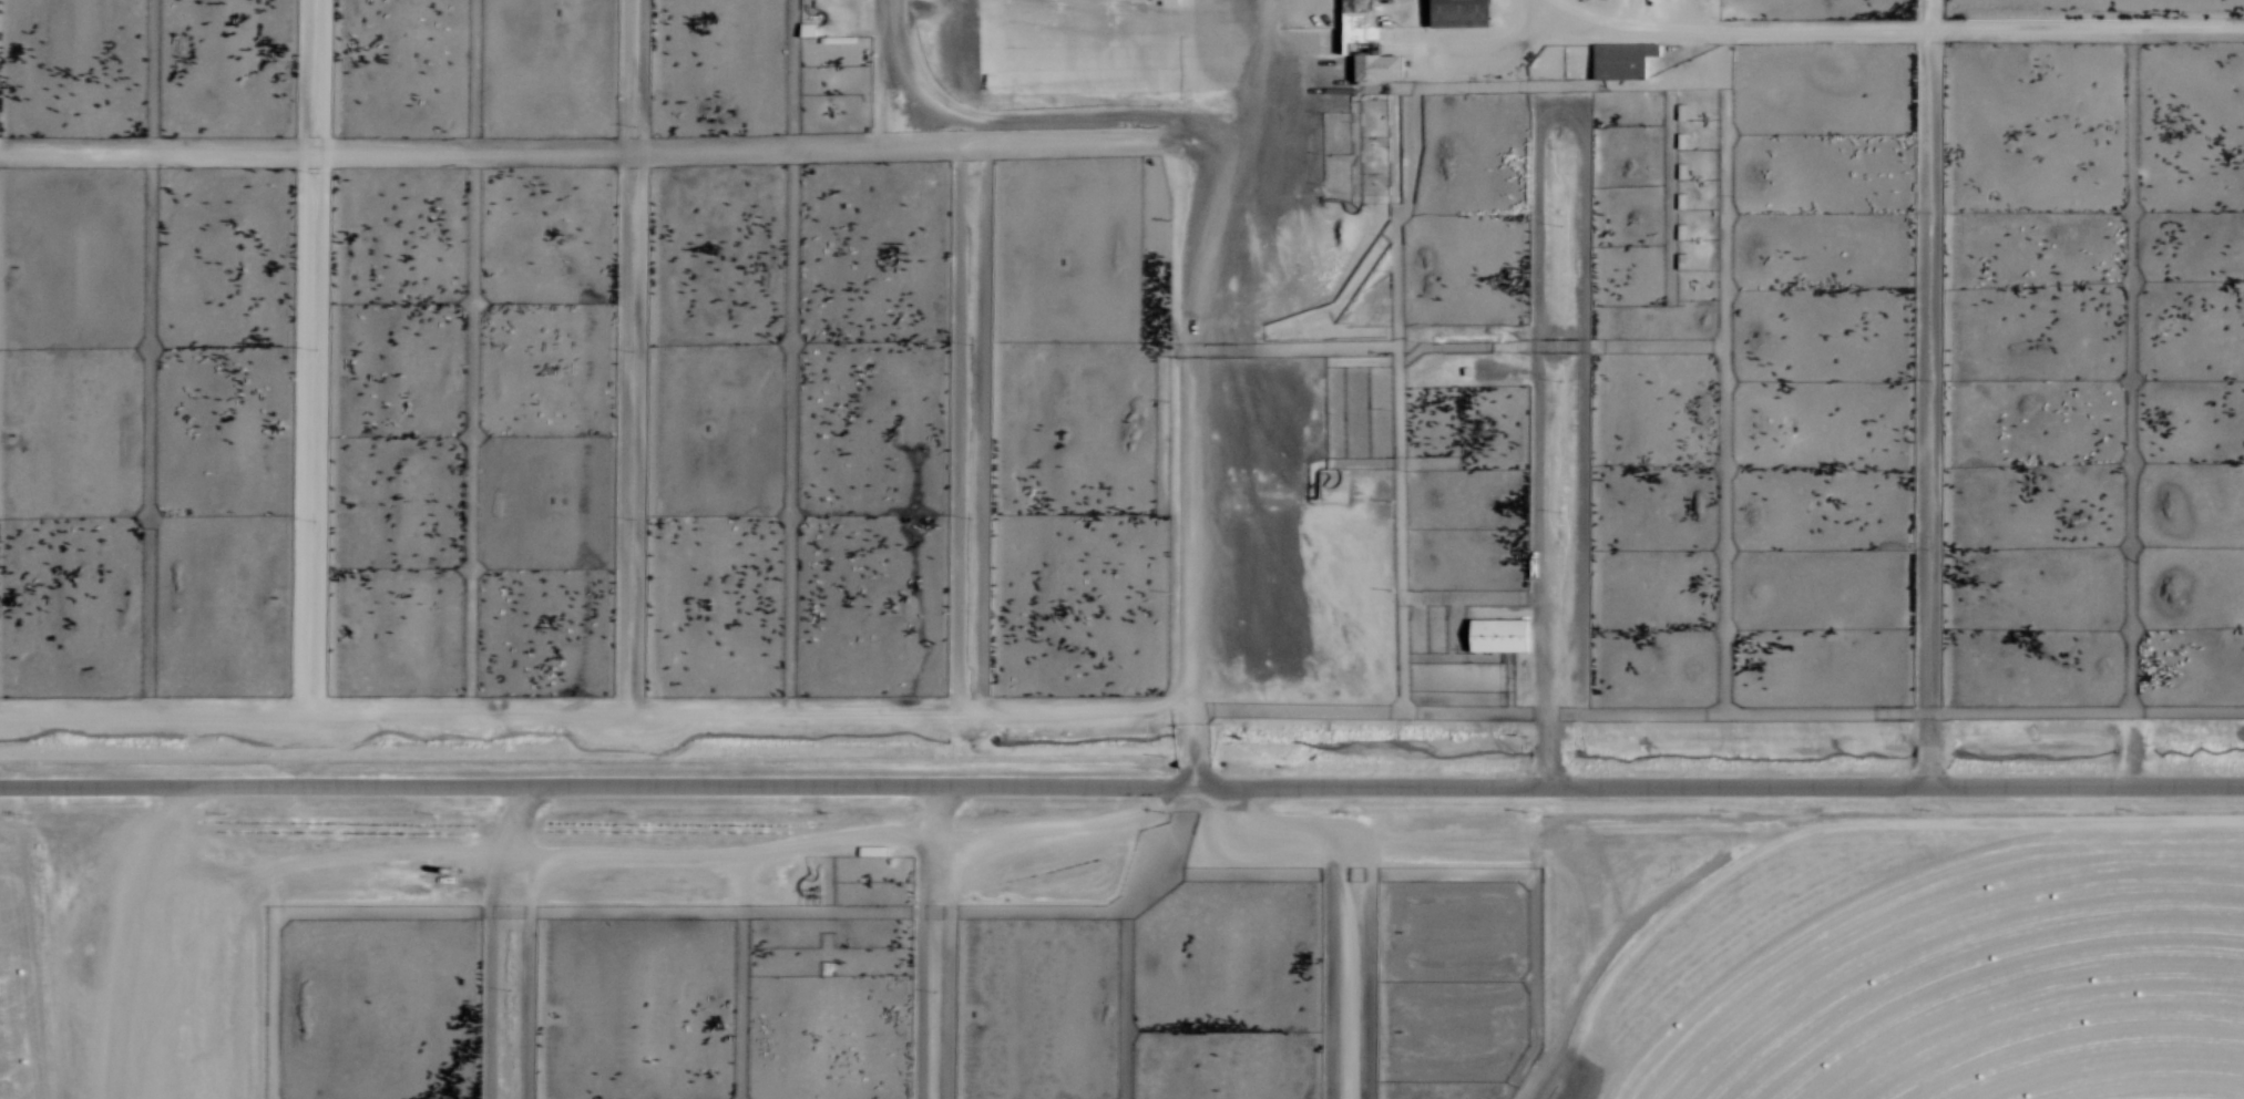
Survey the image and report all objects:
building: (1458, 12)
building: (809, 29)
building: (1348, 31)
road: (1895, 34)
building: (1621, 62)
road: (877, 73)
road: (1559, 115)
road: (778, 148)
road: (308, 358)
road: (627, 358)
road: (1187, 389)
road: (1930, 396)
road: (953, 430)
road: (983, 430)
building: (1496, 636)
road: (963, 716)
road: (1121, 791)
road: (931, 816)
road: (673, 860)
building: (813, 896)
road: (1343, 900)
road: (113, 937)
road: (485, 942)
road: (947, 968)
road: (913, 969)
crop: (1918, 975)
crop: (24, 980)
road: (529, 980)
road: (258, 983)

